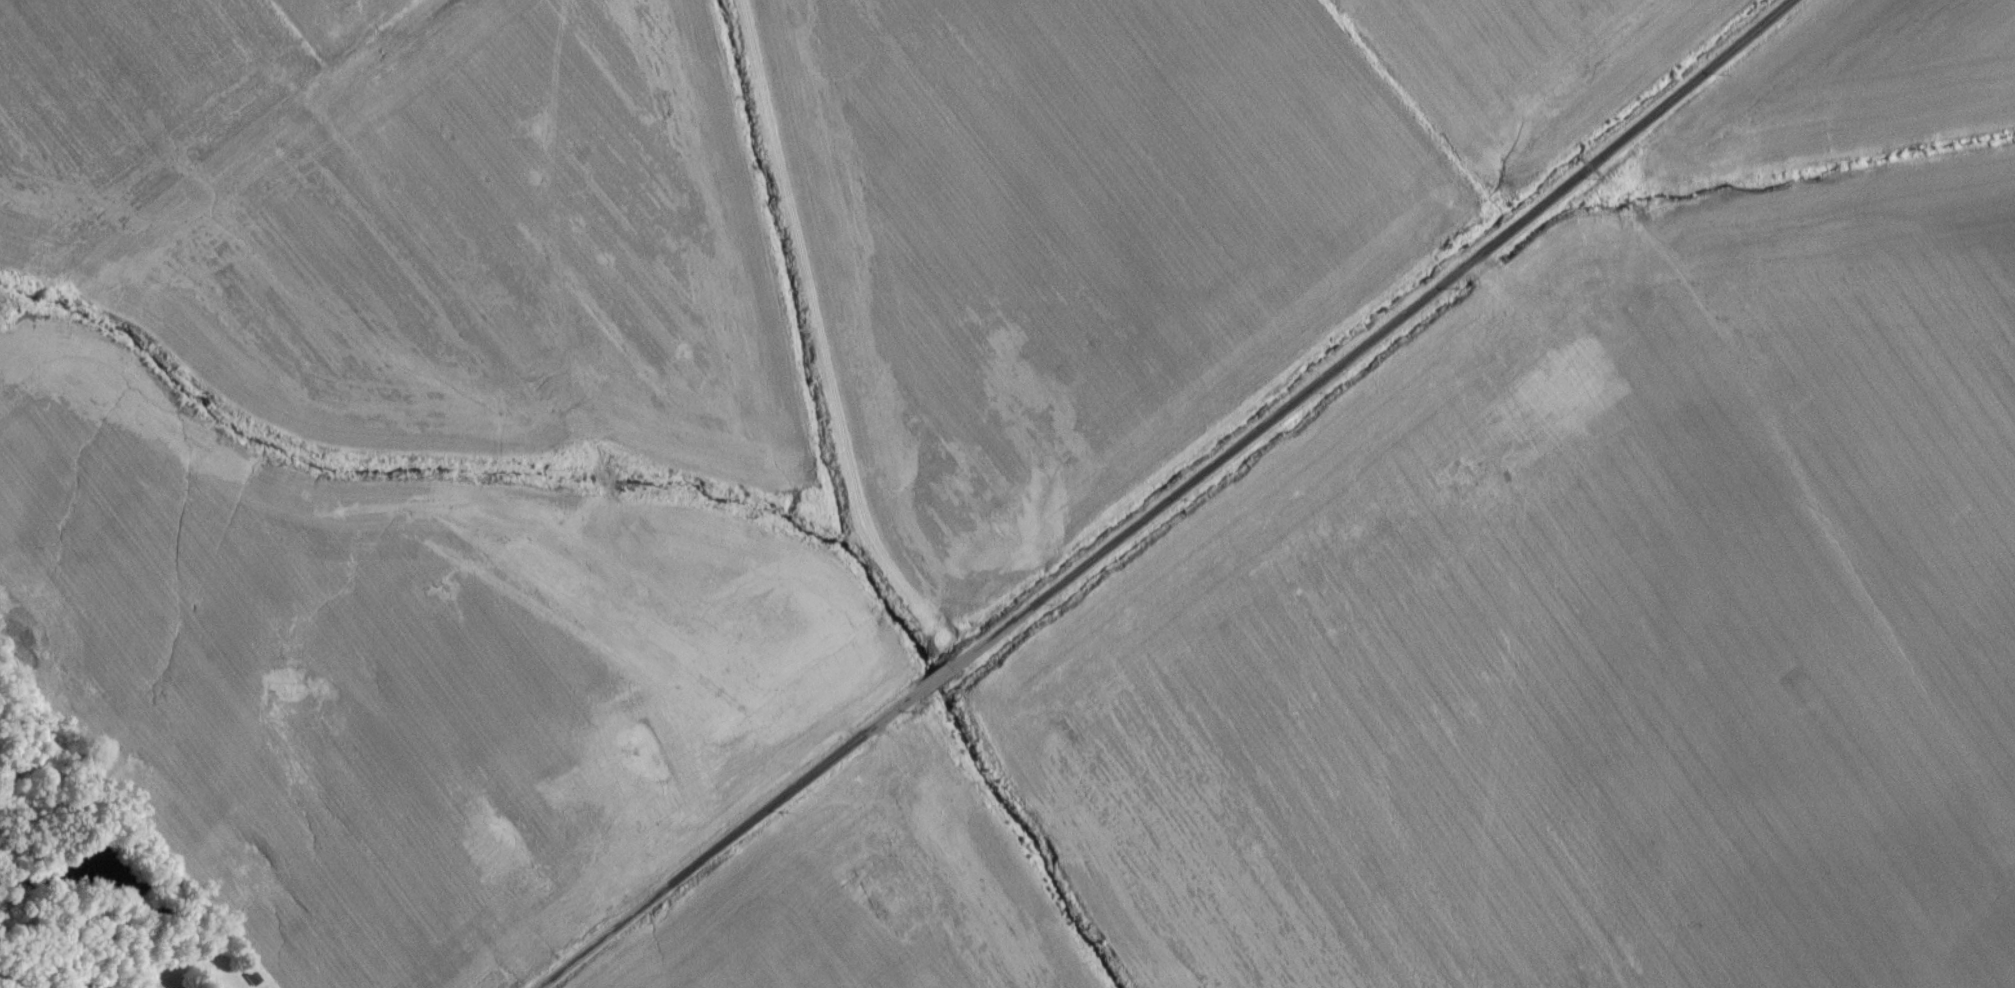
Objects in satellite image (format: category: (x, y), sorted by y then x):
road: (1158, 493)

